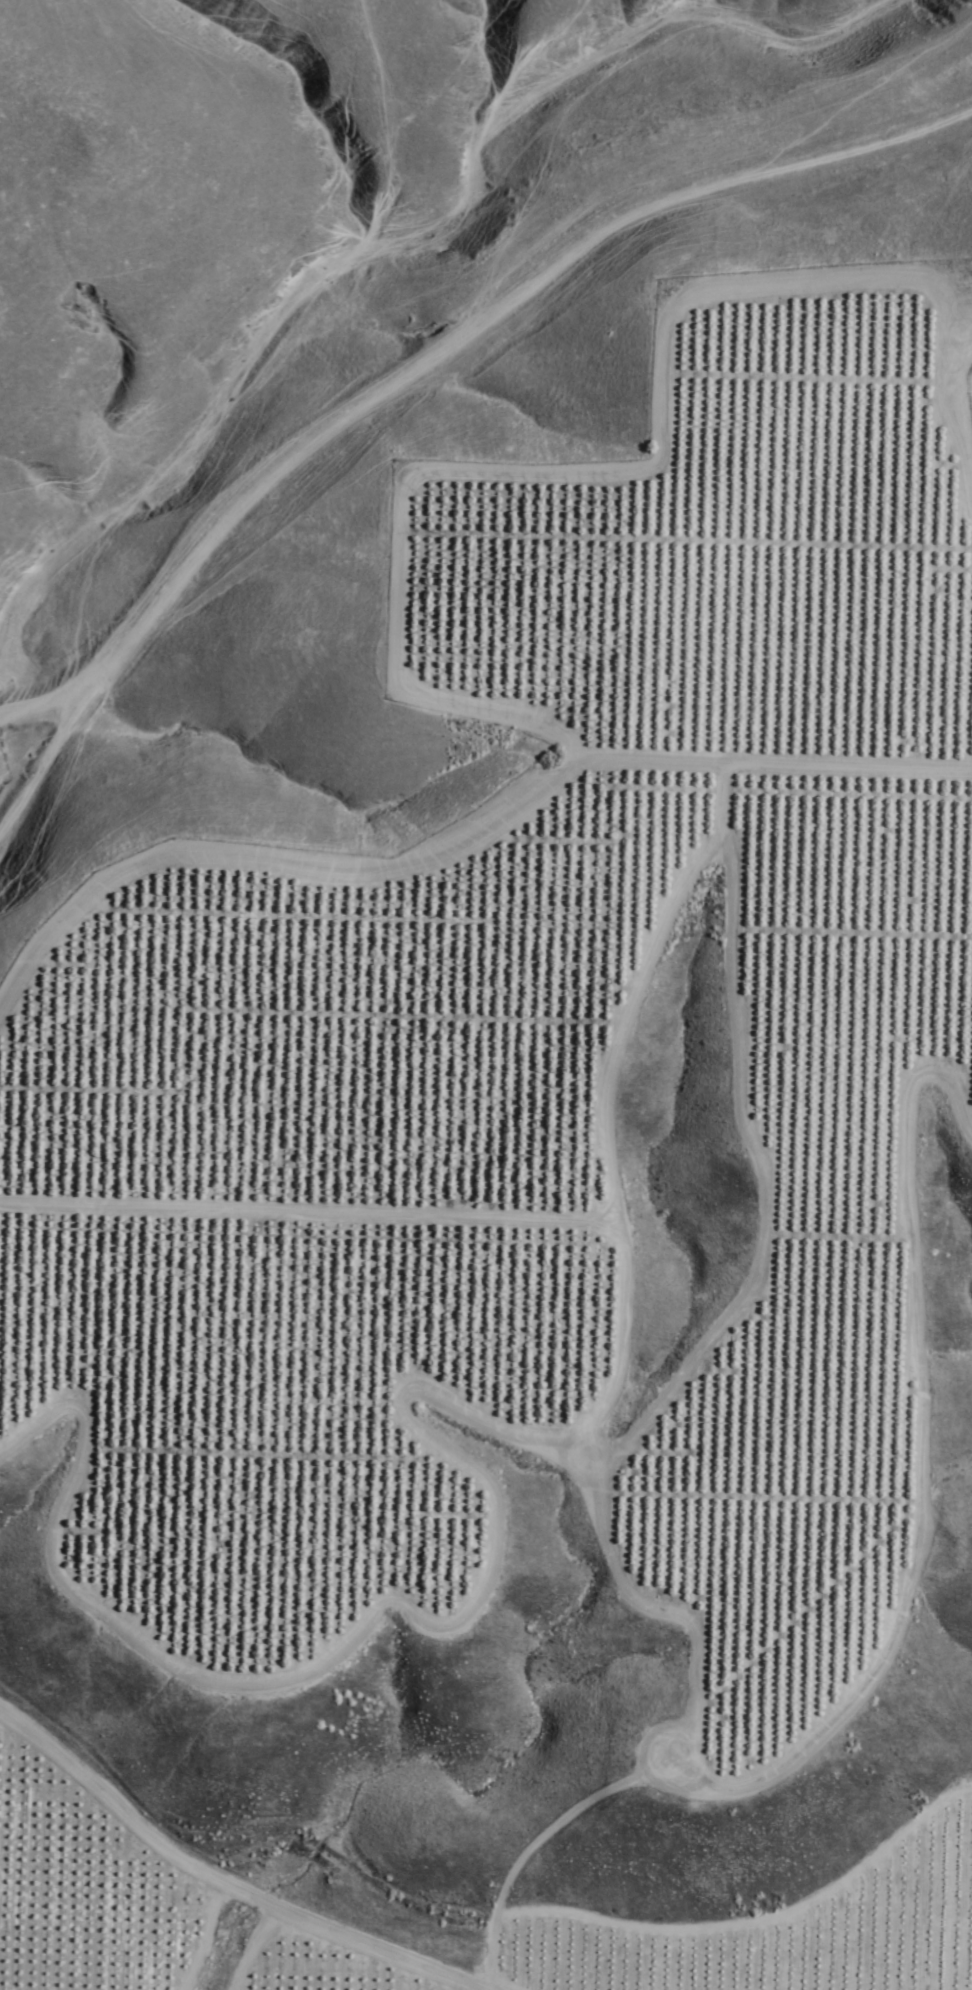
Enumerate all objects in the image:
road: (391, 653)
crop: (102, 1846)
road: (226, 1877)

